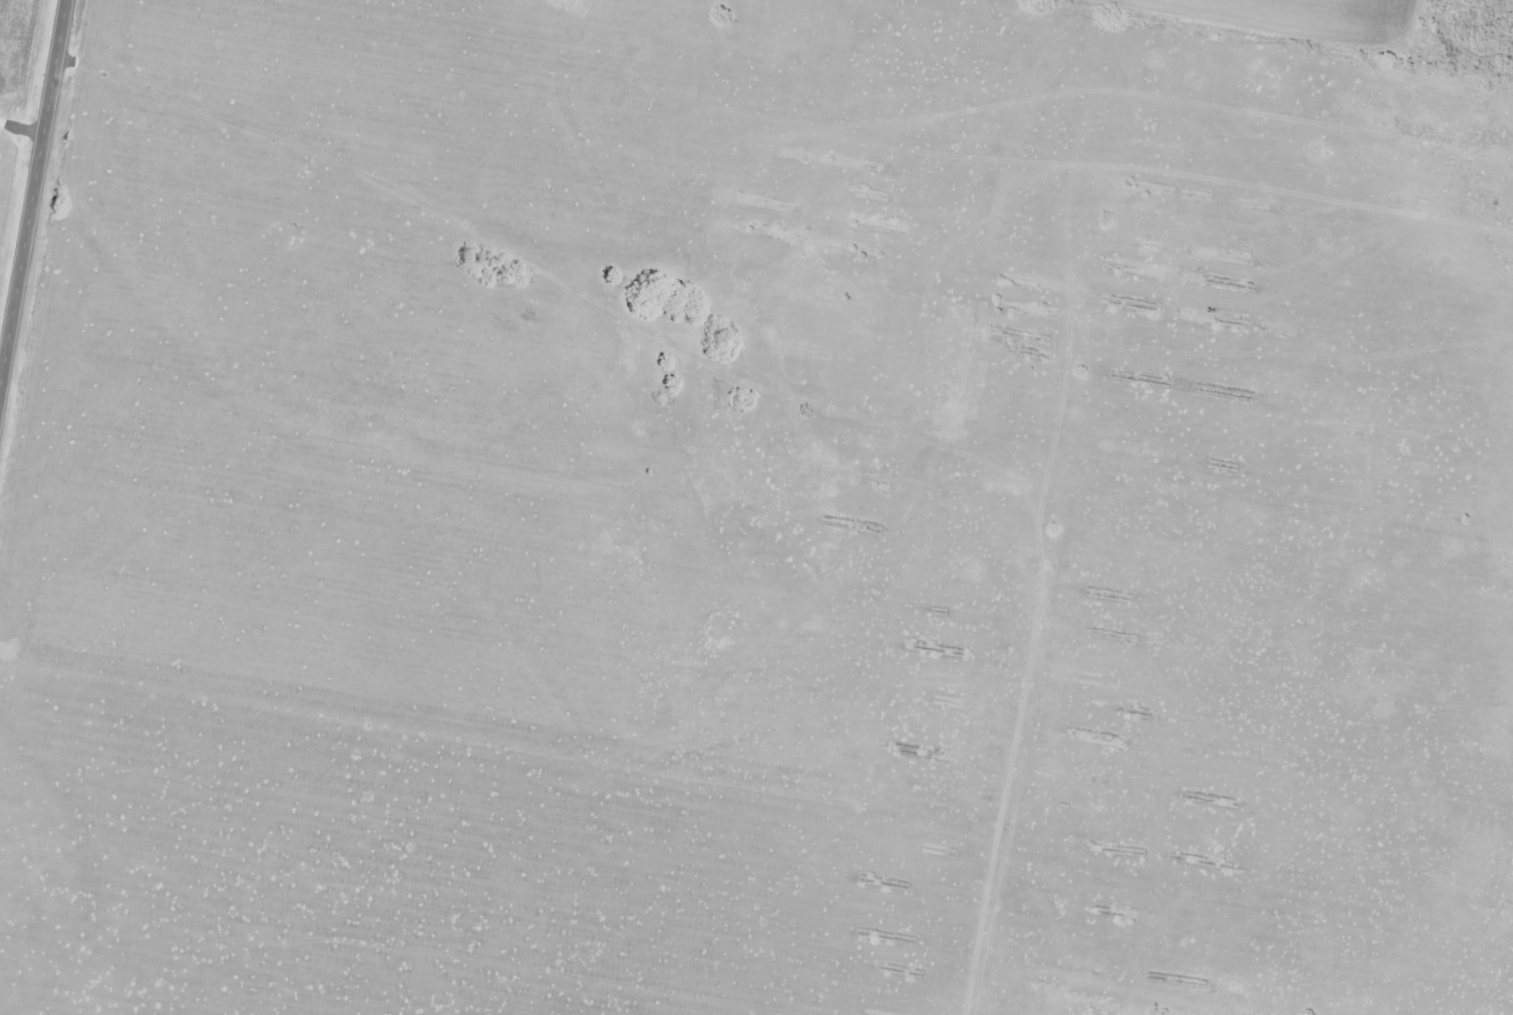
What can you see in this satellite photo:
road: (21, 134)
road: (35, 205)

